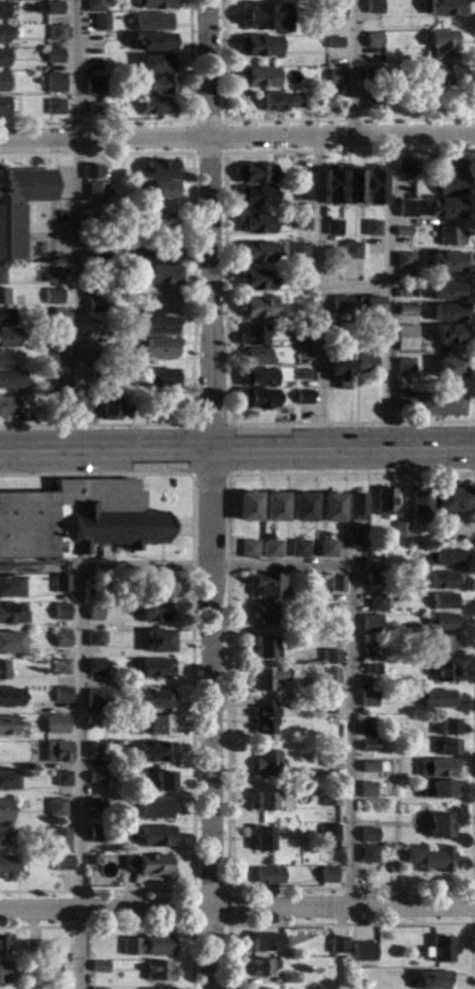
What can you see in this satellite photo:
building: (153, 4)
building: (94, 6)
building: (373, 7)
building: (49, 8)
building: (445, 8)
building: (2, 11)
building: (334, 12)
building: (264, 18)
building: (40, 21)
building: (100, 22)
building: (150, 23)
building: (5, 33)
building: (56, 33)
building: (372, 41)
building: (154, 43)
building: (333, 43)
building: (441, 44)
building: (257, 46)
building: (53, 56)
building: (2, 58)
building: (153, 64)
road: (351, 68)
building: (369, 75)
building: (445, 76)
building: (256, 77)
building: (334, 77)
building: (53, 82)
building: (2, 83)
building: (156, 86)
building: (93, 87)
building: (409, 98)
building: (371, 101)
building: (280, 102)
building: (5, 106)
building: (155, 106)
building: (54, 107)
building: (94, 109)
road: (286, 122)
road: (156, 123)
road: (237, 139)
road: (189, 153)
building: (451, 167)
building: (405, 168)
building: (159, 170)
building: (90, 172)
building: (253, 174)
building: (299, 177)
building: (417, 183)
building: (351, 185)
building: (330, 186)
building: (372, 186)
building: (451, 187)
building: (161, 190)
building: (95, 194)
building: (302, 194)
building: (254, 196)
building: (19, 205)
building: (446, 208)
building: (405, 209)
building: (158, 222)
building: (95, 223)
building: (299, 223)
building: (255, 224)
road: (77, 227)
building: (332, 228)
building: (371, 228)
building: (402, 232)
building: (449, 236)
building: (298, 251)
building: (351, 251)
building: (257, 252)
building: (157, 254)
building: (99, 255)
building: (403, 260)
building: (445, 262)
building: (52, 275)
building: (159, 276)
building: (255, 281)
building: (300, 281)
road: (224, 286)
building: (94, 288)
road: (192, 289)
road: (351, 291)
building: (446, 292)
road: (318, 295)
road: (384, 295)
building: (3, 297)
building: (52, 297)
building: (94, 305)
building: (157, 305)
building: (340, 305)
building: (301, 306)
building: (368, 306)
building: (256, 309)
building: (447, 312)
building: (405, 314)
building: (59, 316)
building: (5, 317)
building: (157, 326)
building: (302, 332)
building: (289, 333)
building: (450, 335)
building: (61, 337)
building: (252, 337)
building: (7, 338)
building: (405, 338)
building: (159, 348)
building: (303, 354)
building: (256, 357)
building: (61, 358)
building: (97, 360)
building: (3, 361)
building: (365, 364)
building: (114, 366)
building: (404, 366)
building: (447, 368)
building: (338, 372)
building: (302, 375)
building: (160, 378)
building: (256, 378)
building: (62, 379)
building: (97, 379)
building: (11, 380)
building: (301, 397)
building: (258, 400)
building: (61, 401)
building: (431, 403)
building: (6, 407)
building: (110, 407)
road: (208, 425)
road: (237, 453)
road: (474, 462)
road: (208, 475)
road: (211, 494)
building: (451, 500)
building: (384, 503)
building: (419, 506)
building: (248, 507)
building: (276, 507)
building: (356, 507)
building: (304, 508)
building: (331, 508)
building: (77, 520)
building: (400, 531)
building: (355, 541)
building: (250, 549)
building: (272, 549)
building: (300, 549)
building: (328, 549)
building: (383, 552)
building: (443, 558)
building: (373, 565)
road: (175, 568)
building: (388, 578)
building: (374, 579)
building: (441, 581)
building: (337, 583)
building: (61, 584)
building: (90, 586)
building: (162, 586)
building: (10, 587)
building: (268, 587)
building: (442, 602)
building: (377, 603)
building: (61, 612)
building: (94, 613)
building: (155, 613)
building: (11, 614)
building: (266, 616)
building: (440, 622)
building: (371, 624)
building: (308, 628)
building: (408, 631)
building: (61, 639)
building: (95, 639)
building: (158, 642)
building: (10, 643)
building: (438, 646)
building: (266, 648)
building: (372, 652)
building: (331, 657)
building: (61, 667)
building: (95, 667)
building: (156, 669)
building: (373, 669)
building: (3, 670)
building: (442, 673)
building: (330, 676)
building: (269, 679)
road: (190, 682)
building: (61, 695)
building: (93, 697)
building: (8, 698)
building: (368, 699)
building: (435, 699)
building: (157, 700)
building: (326, 708)
building: (265, 718)
building: (95, 720)
building: (59, 721)
building: (160, 725)
building: (7, 726)
building: (369, 728)
building: (447, 728)
building: (369, 746)
building: (447, 747)
building: (92, 750)
building: (56, 752)
building: (153, 752)
building: (330, 759)
building: (267, 764)
building: (373, 767)
building: (436, 768)
building: (95, 778)
building: (62, 779)
building: (6, 781)
building: (160, 782)
building: (366, 790)
building: (442, 790)
building: (329, 799)
building: (265, 801)
building: (95, 805)
building: (56, 808)
building: (154, 809)
building: (5, 811)
building: (438, 826)
building: (60, 832)
building: (328, 833)
building: (95, 835)
building: (368, 835)
building: (155, 837)
building: (2, 838)
building: (262, 839)
building: (367, 854)
building: (429, 859)
building: (386, 860)
building: (90, 861)
building: (61, 863)
building: (147, 865)
building: (8, 868)
building: (268, 876)
building: (327, 876)
road: (226, 890)
road: (471, 905)
road: (237, 911)
road: (350, 923)
road: (226, 925)
road: (127, 926)
building: (264, 942)
building: (147, 945)
building: (2, 946)
building: (338, 946)
building: (35, 950)
building: (51, 950)
building: (439, 950)
building: (362, 952)
building: (99, 967)
building: (263, 967)
building: (46, 970)
building: (158, 971)
building: (6, 973)
building: (289, 978)
building: (431, 980)
building: (257, 988)

